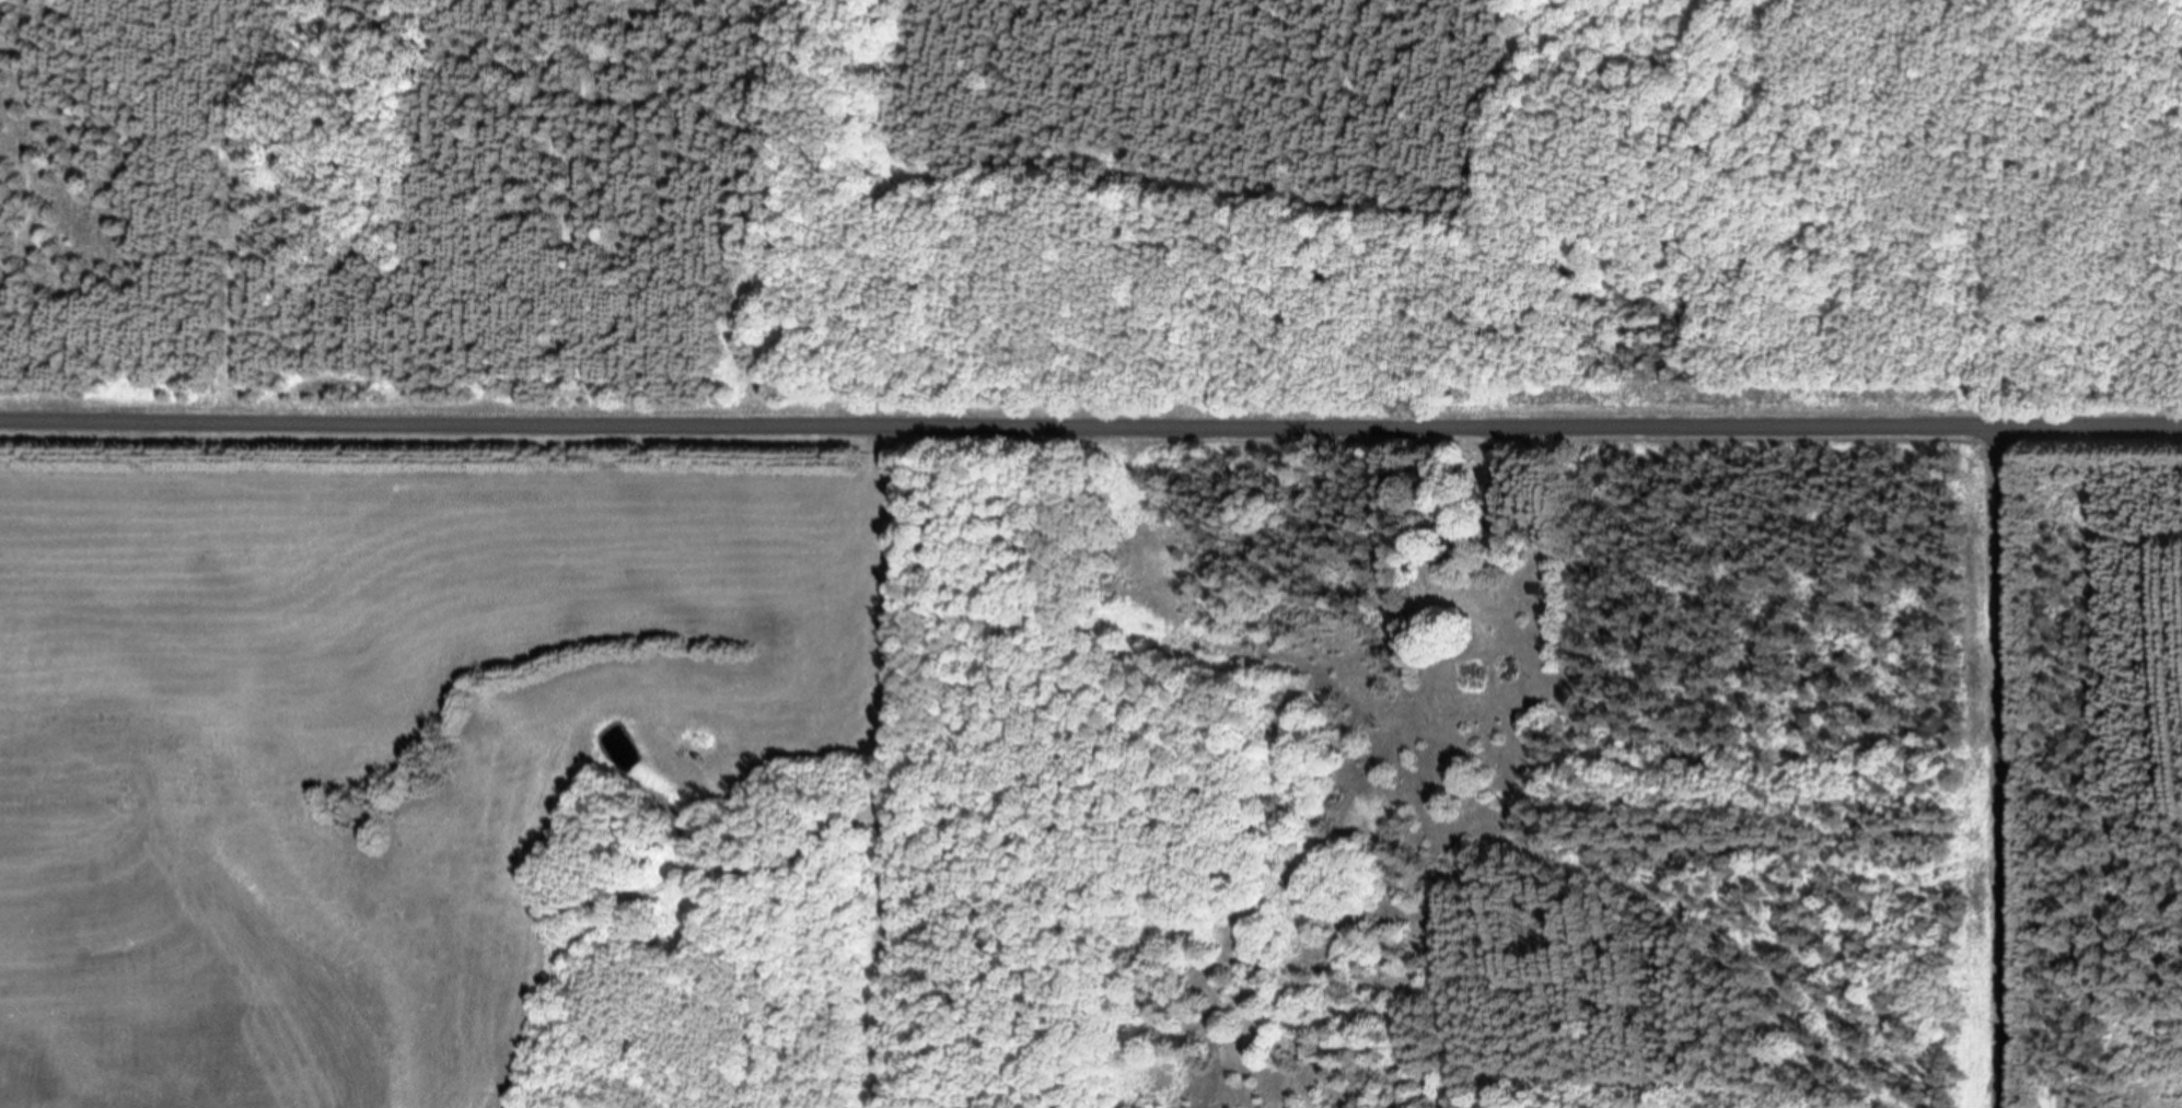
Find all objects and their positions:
road: (1090, 428)
building: (1460, 552)
road: (2004, 769)

